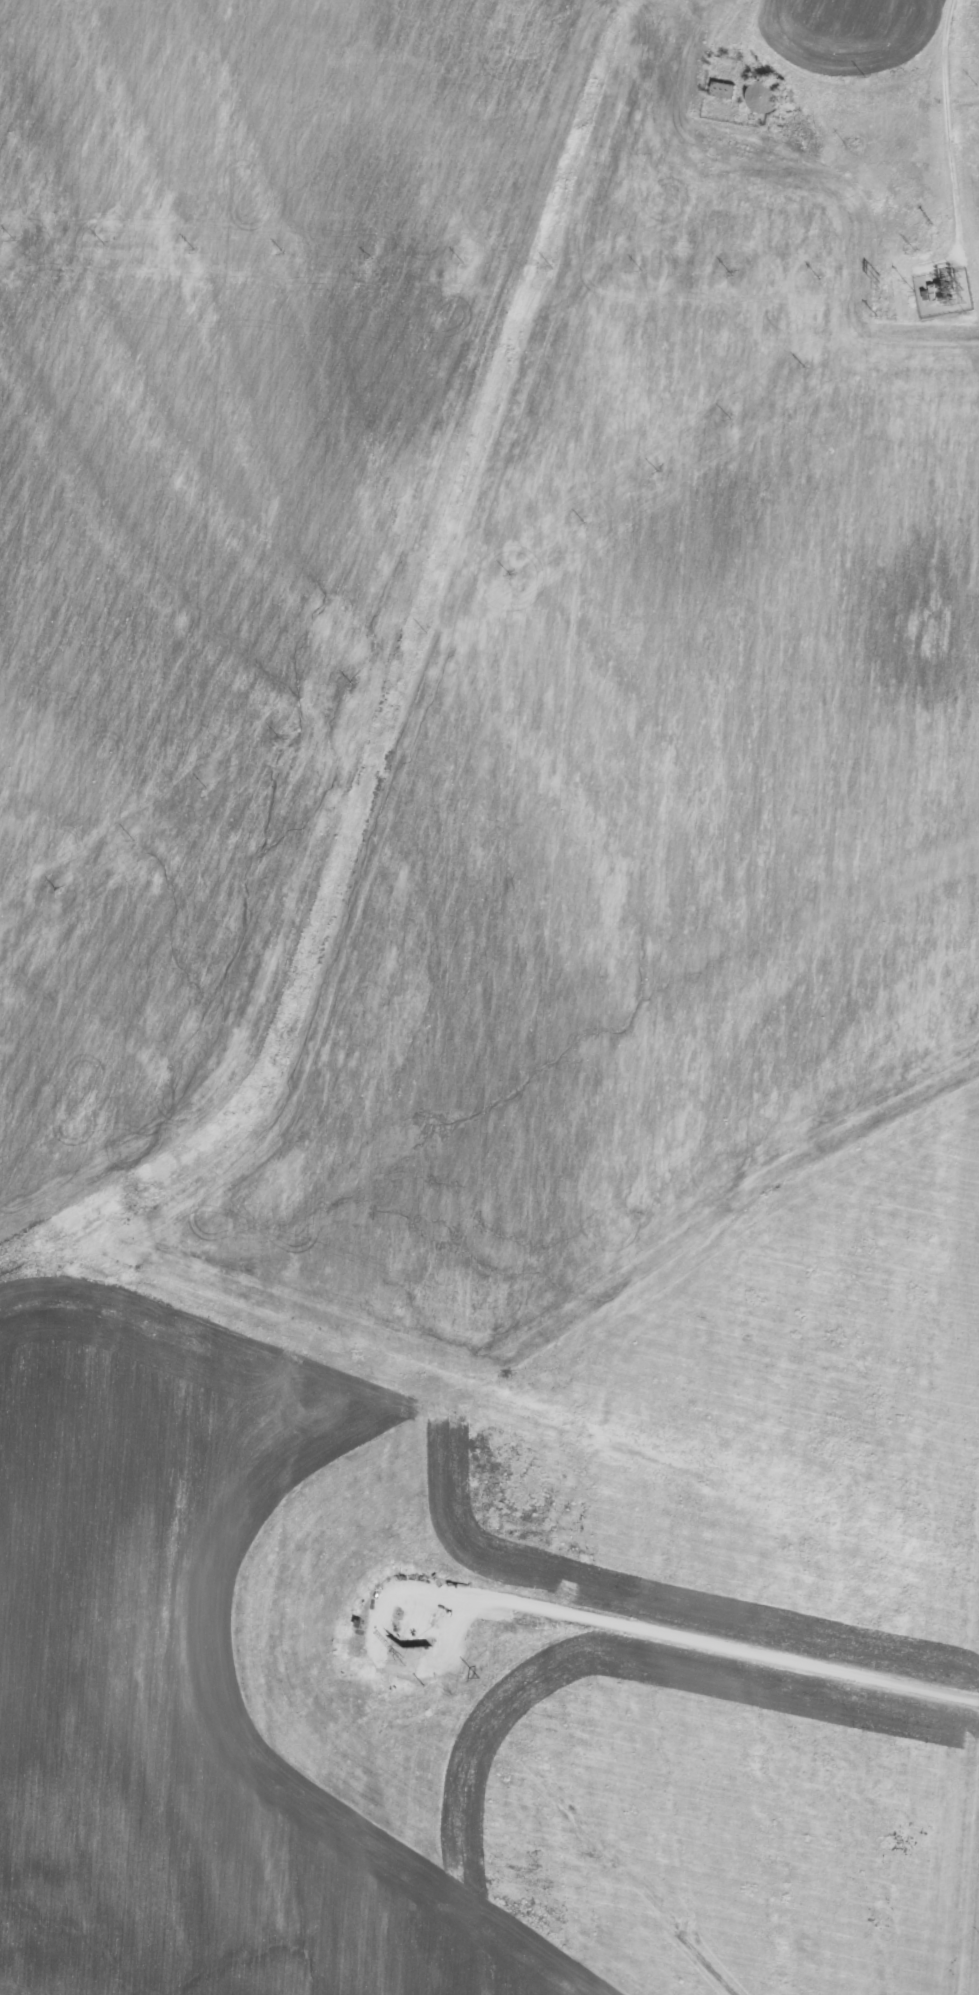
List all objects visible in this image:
road: (745, 25)
building: (723, 87)
building: (764, 94)
storage tank: (764, 94)
road: (953, 156)
power substation: (941, 290)
railway: (492, 1050)
road: (687, 1647)

